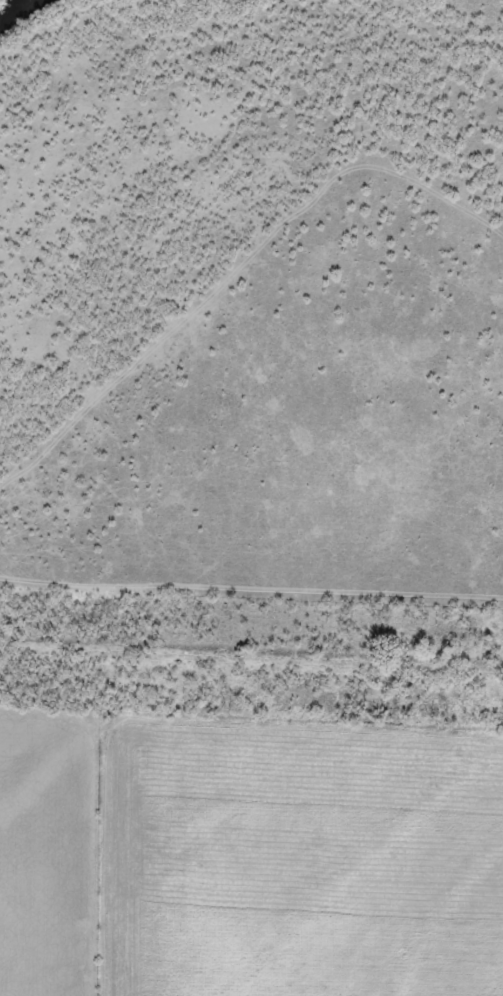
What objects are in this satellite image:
railway: (251, 651)

